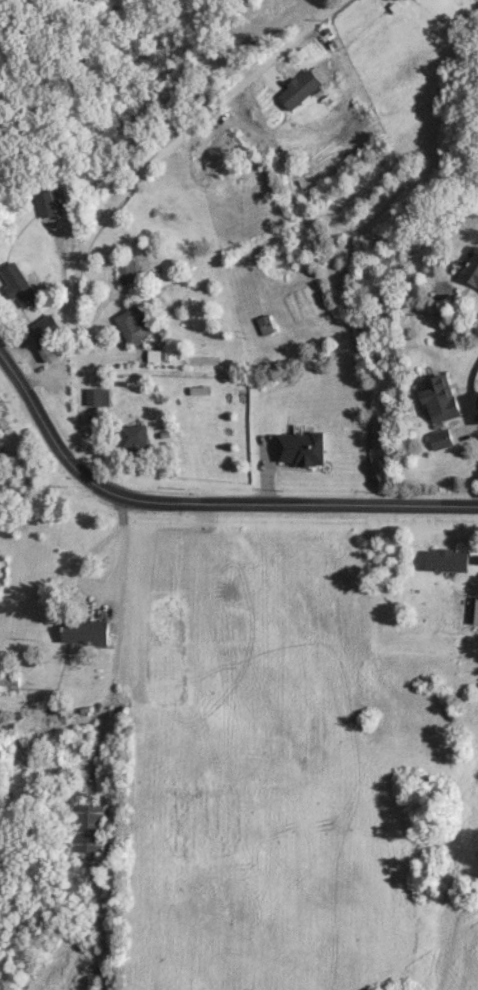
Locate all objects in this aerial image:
building: (295, 89)
building: (220, 150)
road: (124, 191)
building: (45, 204)
building: (124, 268)
building: (470, 269)
building: (17, 285)
building: (133, 324)
building: (42, 335)
building: (201, 359)
building: (91, 396)
building: (437, 397)
building: (129, 435)
building: (438, 438)
building: (297, 448)
road: (207, 500)
building: (442, 560)
road: (79, 567)
building: (474, 611)
building: (81, 630)
road: (114, 641)
road: (98, 747)
building: (87, 827)

